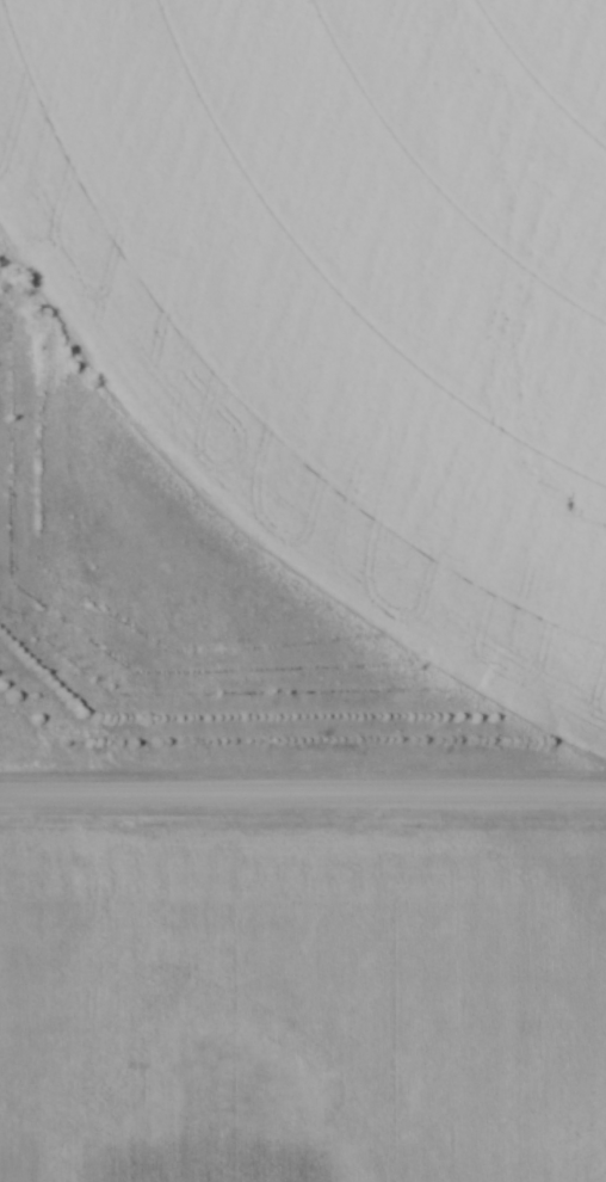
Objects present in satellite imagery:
road: (303, 795)

